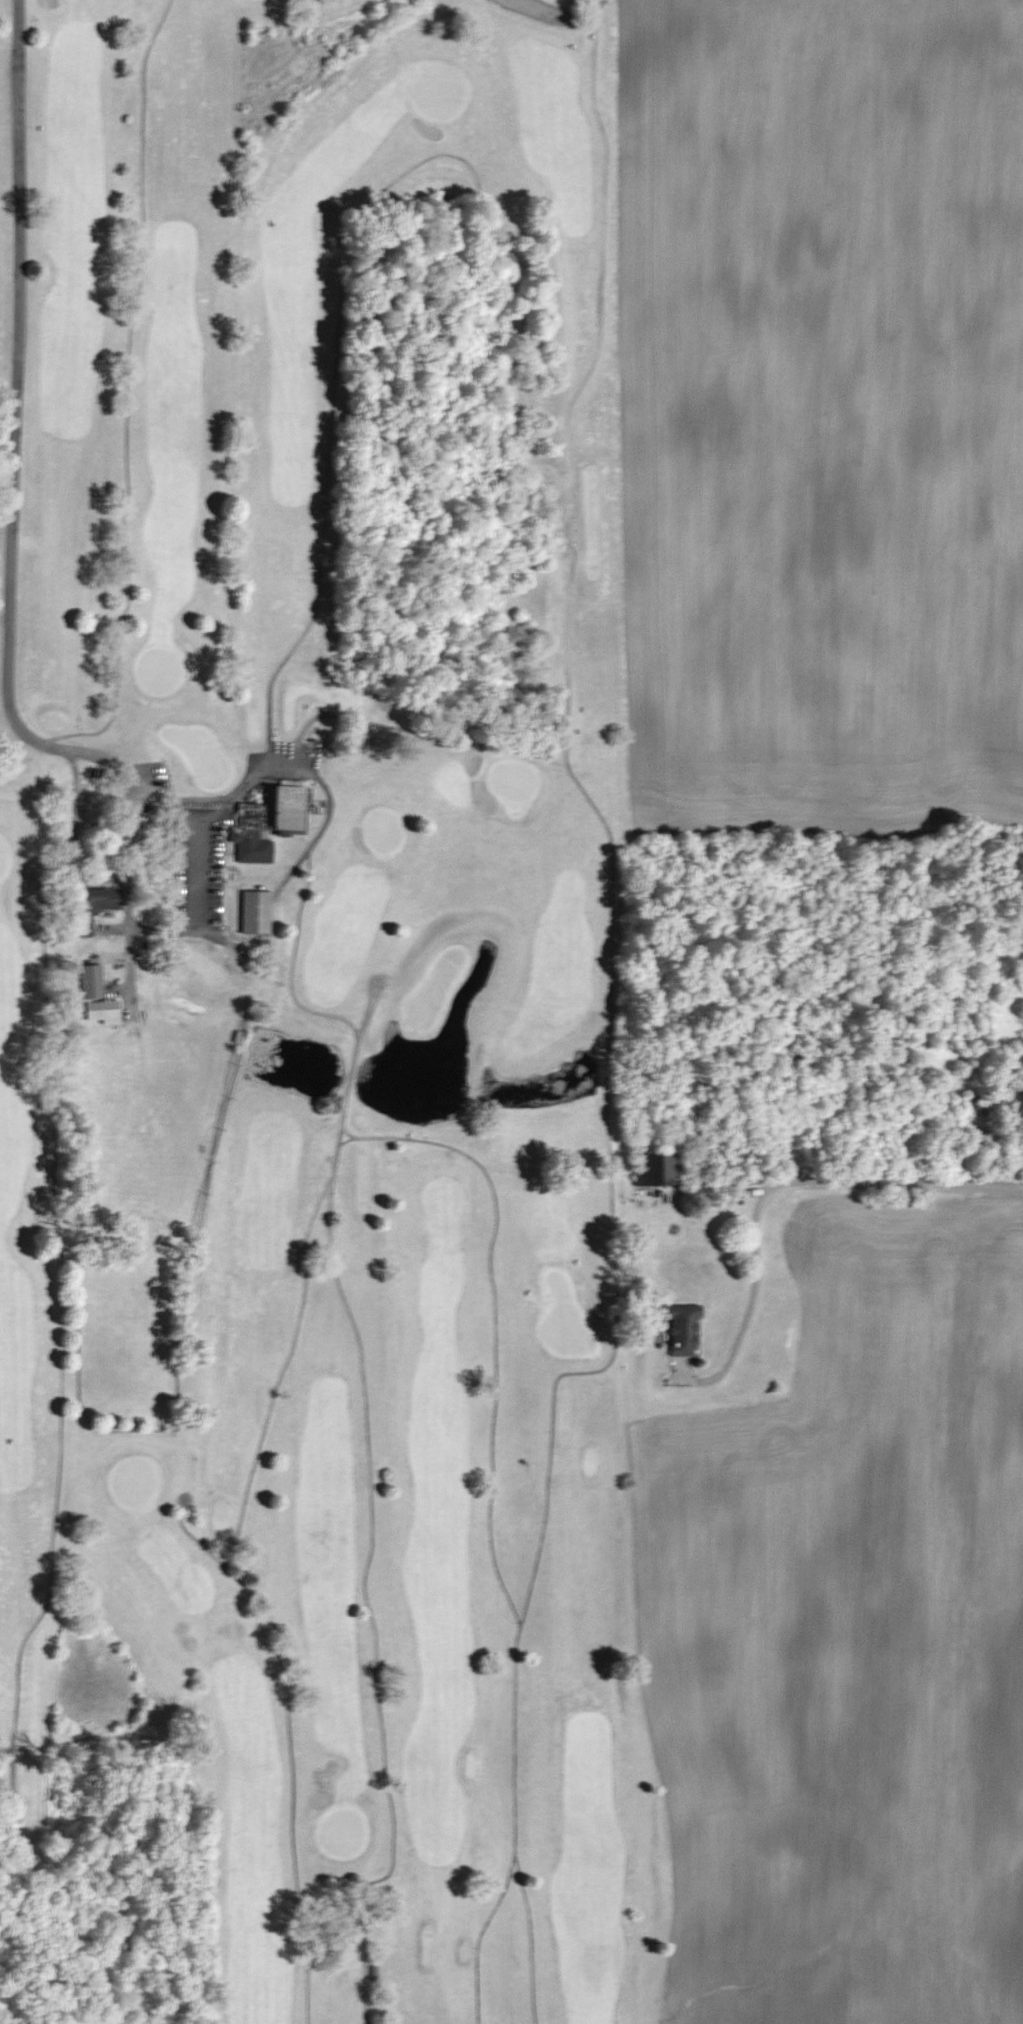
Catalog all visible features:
road: (13, 545)
road: (317, 776)
road: (860, 793)
building: (270, 821)
road: (200, 837)
building: (90, 908)
building: (256, 912)
building: (91, 982)
building: (102, 1011)
building: (658, 1170)
road: (771, 1194)
building: (684, 1331)

